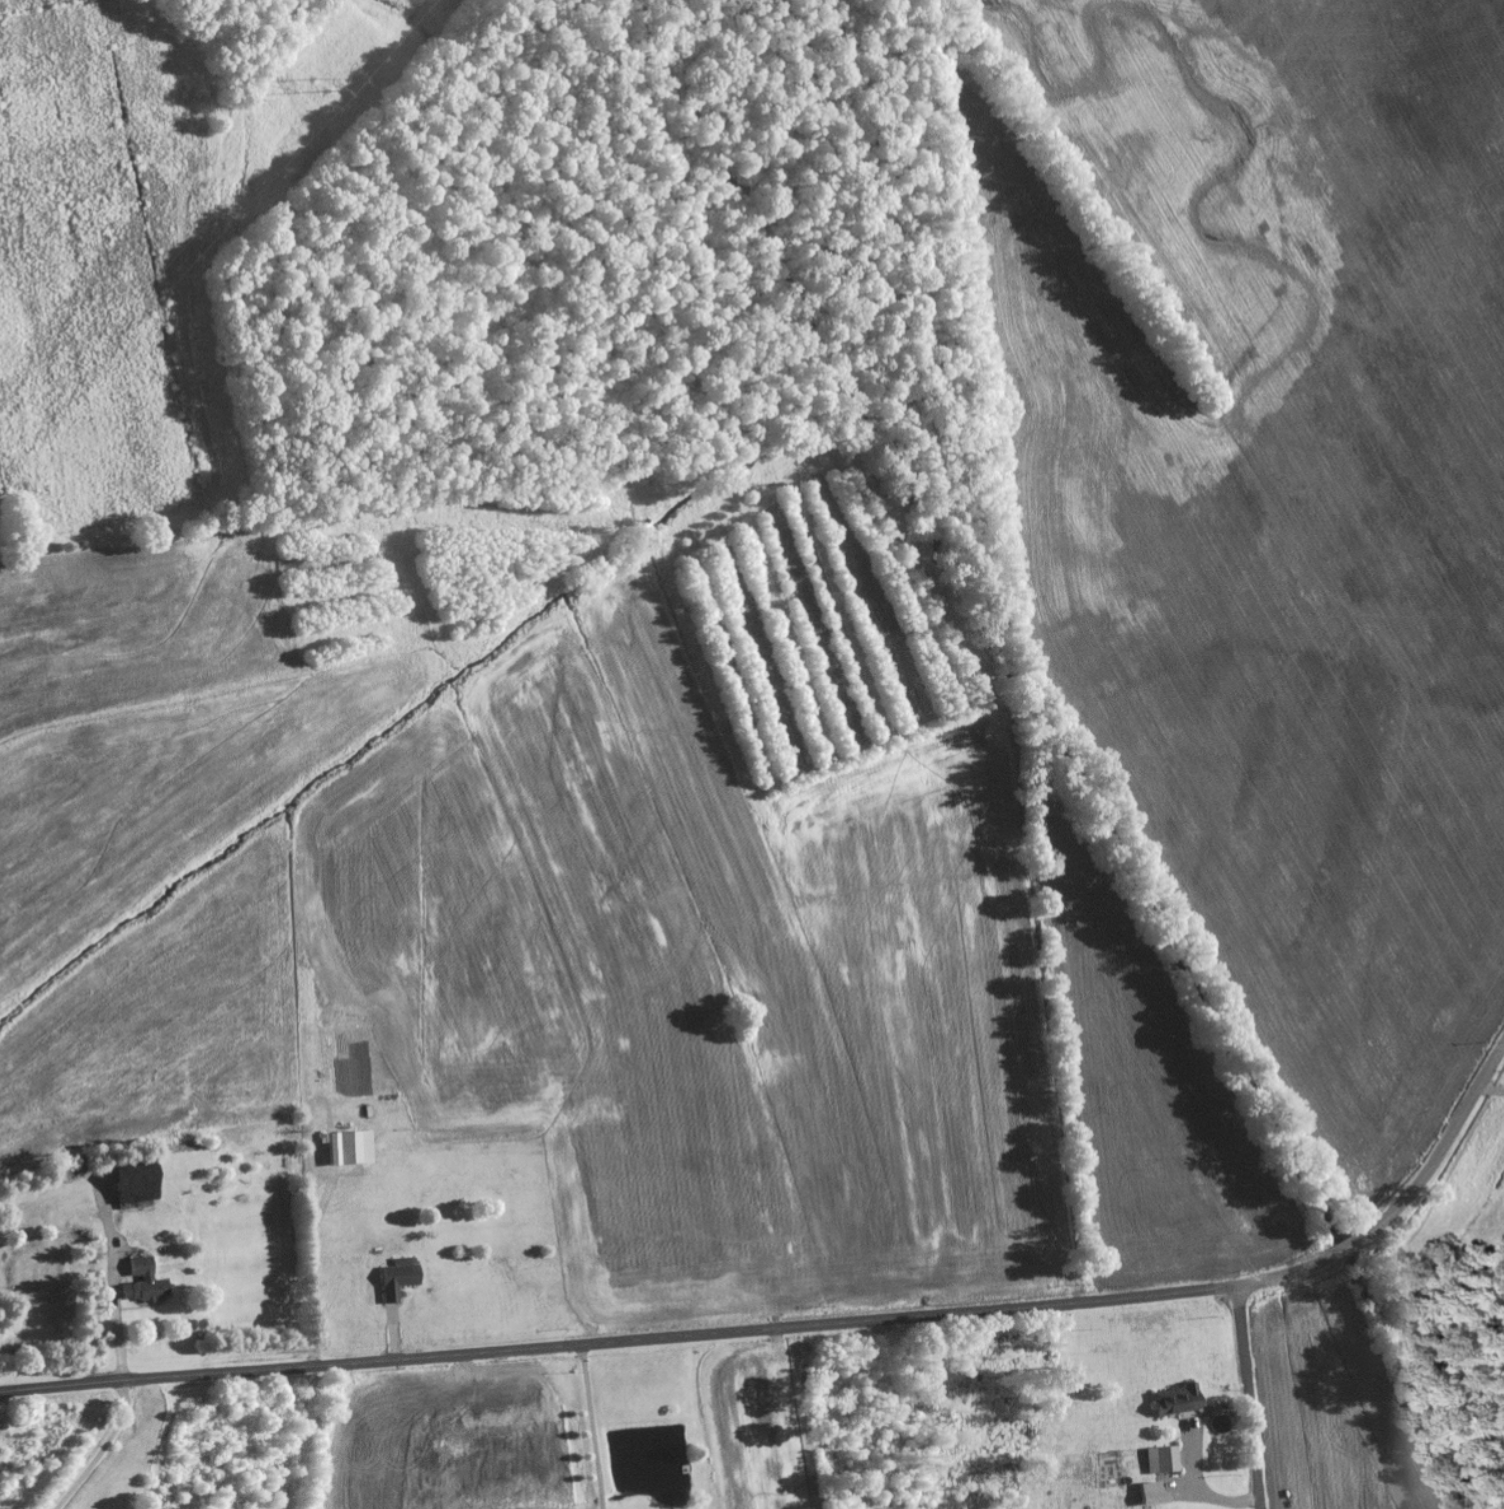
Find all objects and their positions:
power tower: (322, 77)
building: (356, 1147)
building: (136, 1189)
building: (398, 1278)
building: (144, 1282)
road: (804, 1327)
road: (1250, 1397)
building: (1177, 1400)
building: (1162, 1460)
building: (1153, 1494)

